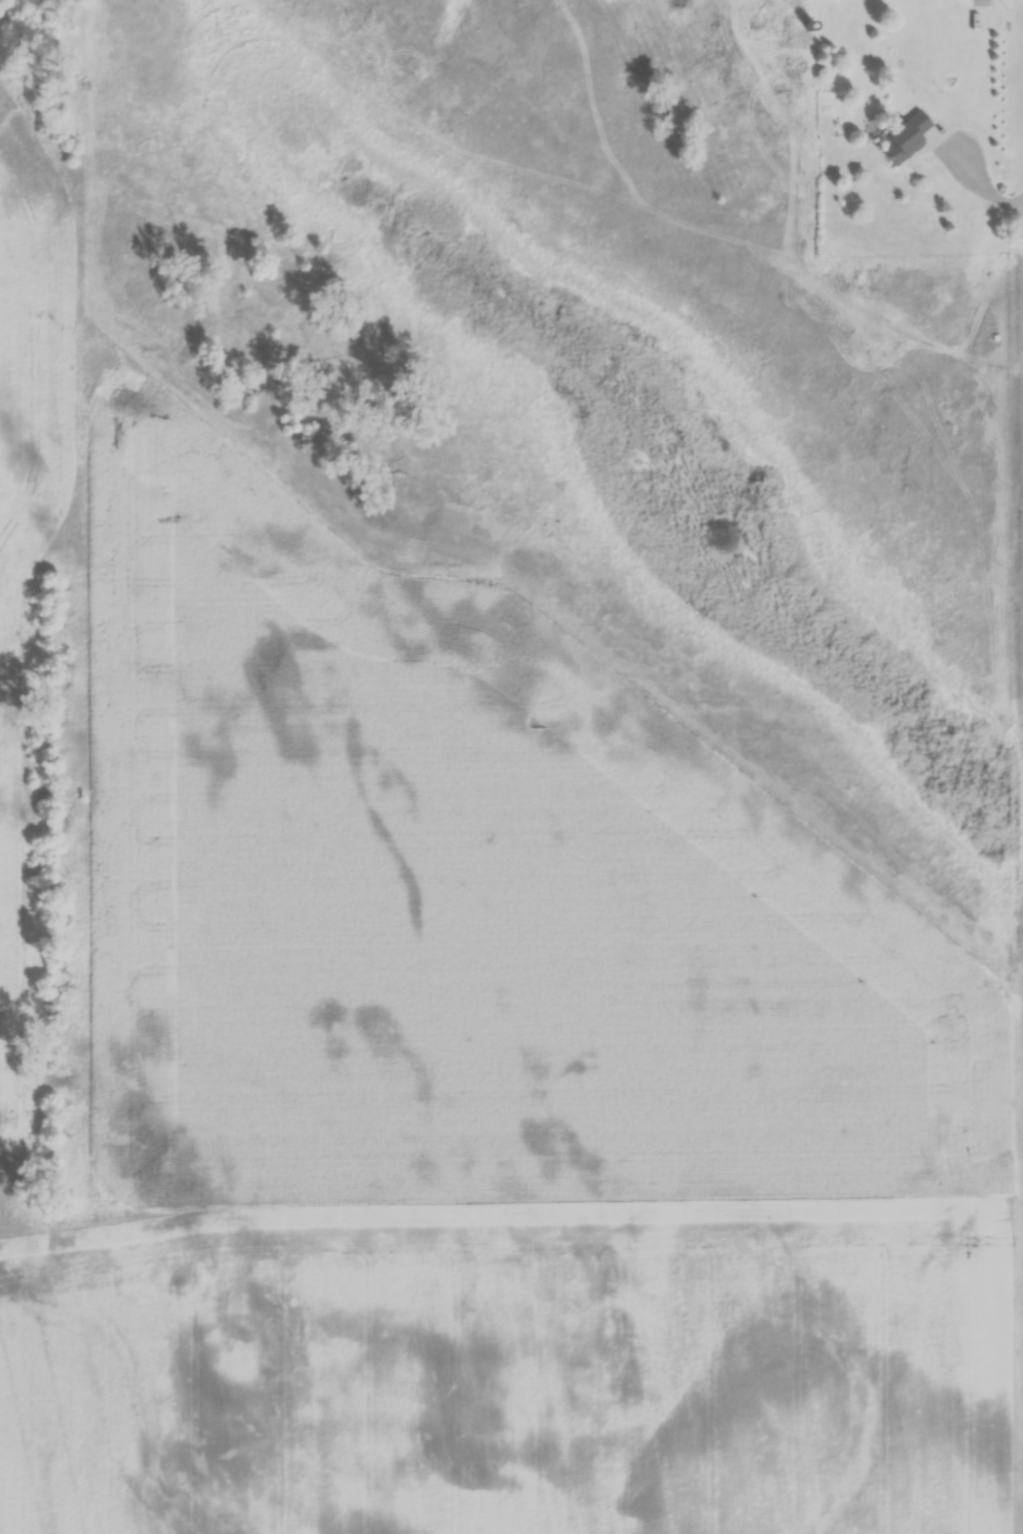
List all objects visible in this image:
building: (902, 139)

